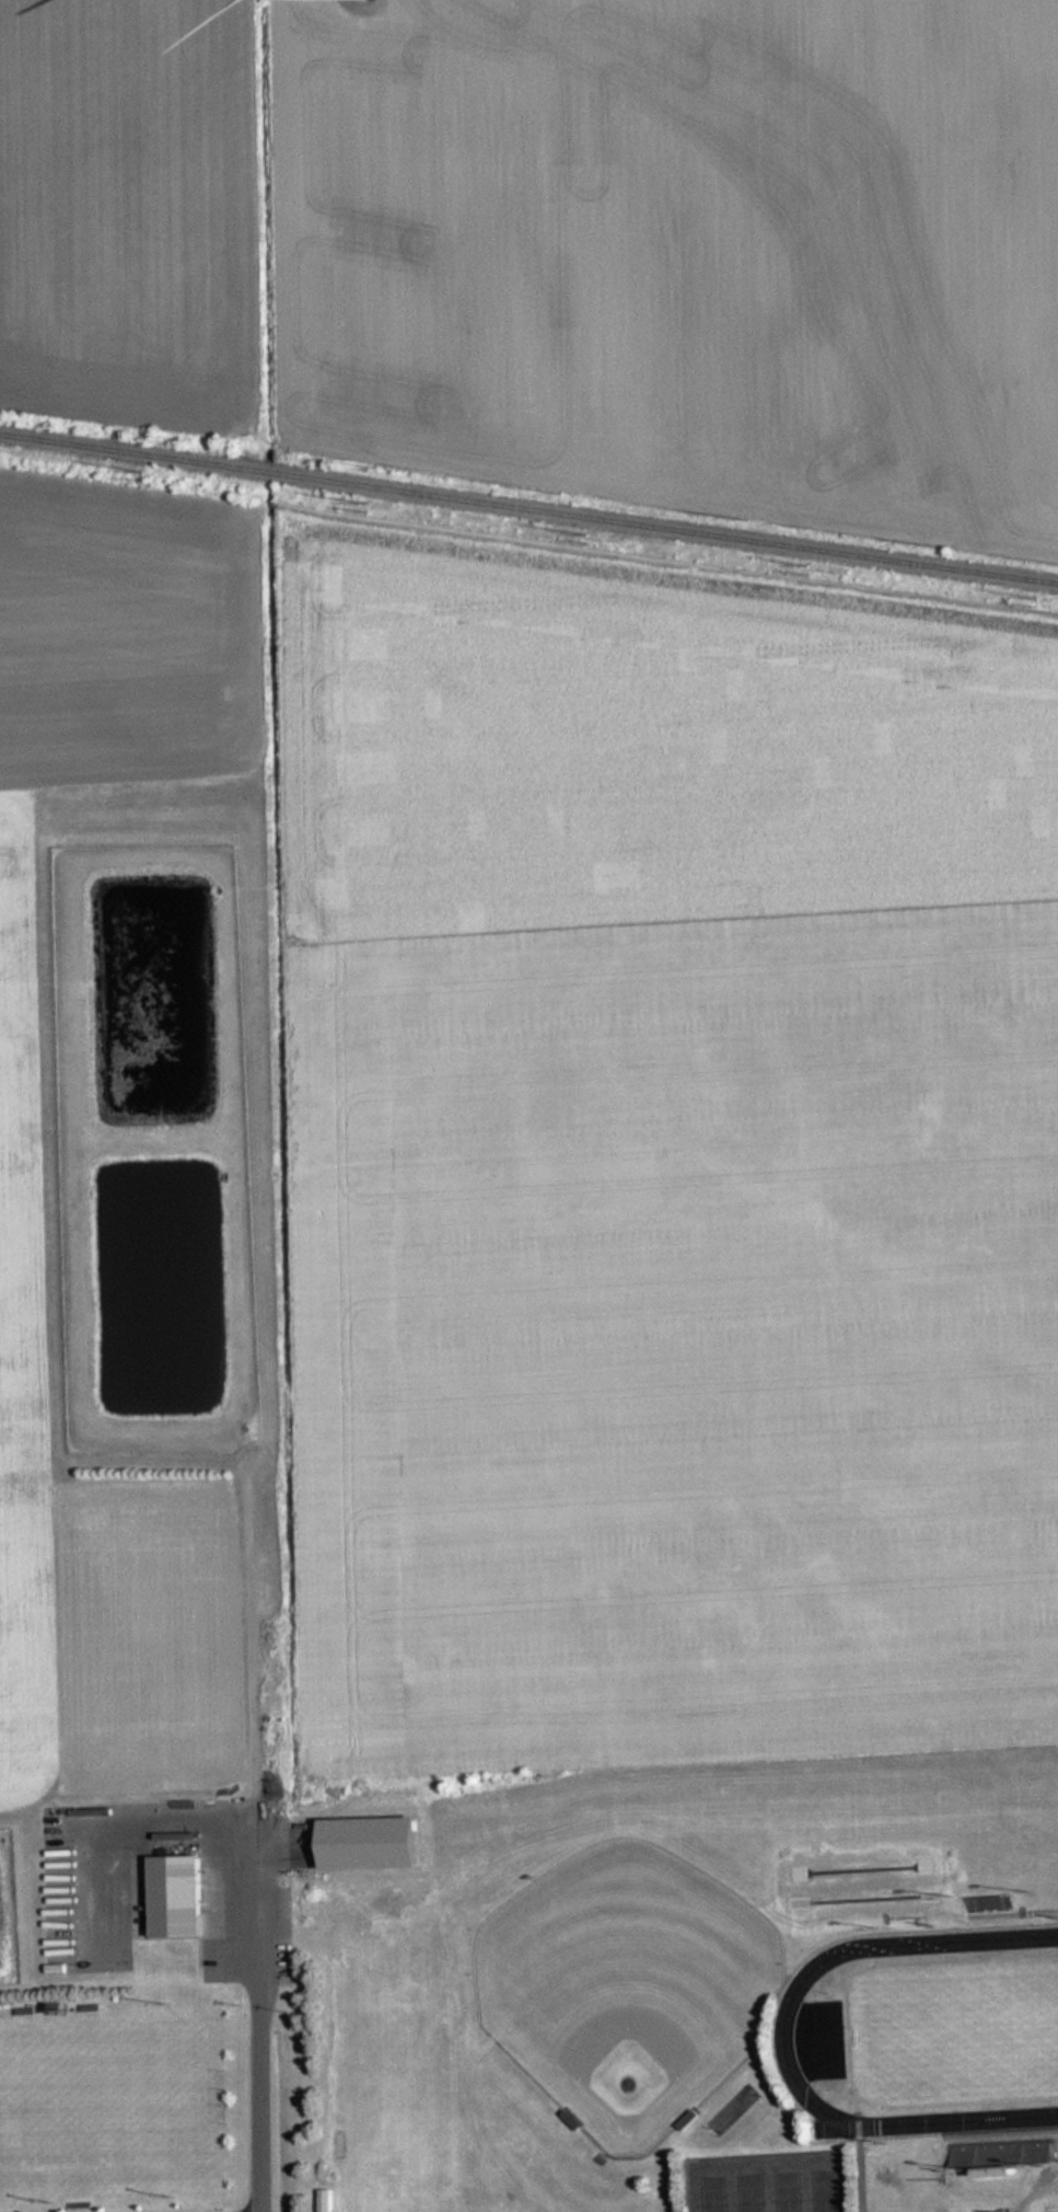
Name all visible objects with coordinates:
railway: (528, 508)
parking lot: (85, 1889)
building: (181, 1897)
building: (992, 1905)
park: (628, 1986)
building: (91, 2005)
building: (25, 2008)
building: (60, 2008)
road: (259, 2009)
track: (783, 2027)
park: (958, 2032)
park: (101, 2102)
building: (1001, 2153)
park: (768, 2181)
building: (77, 2204)

